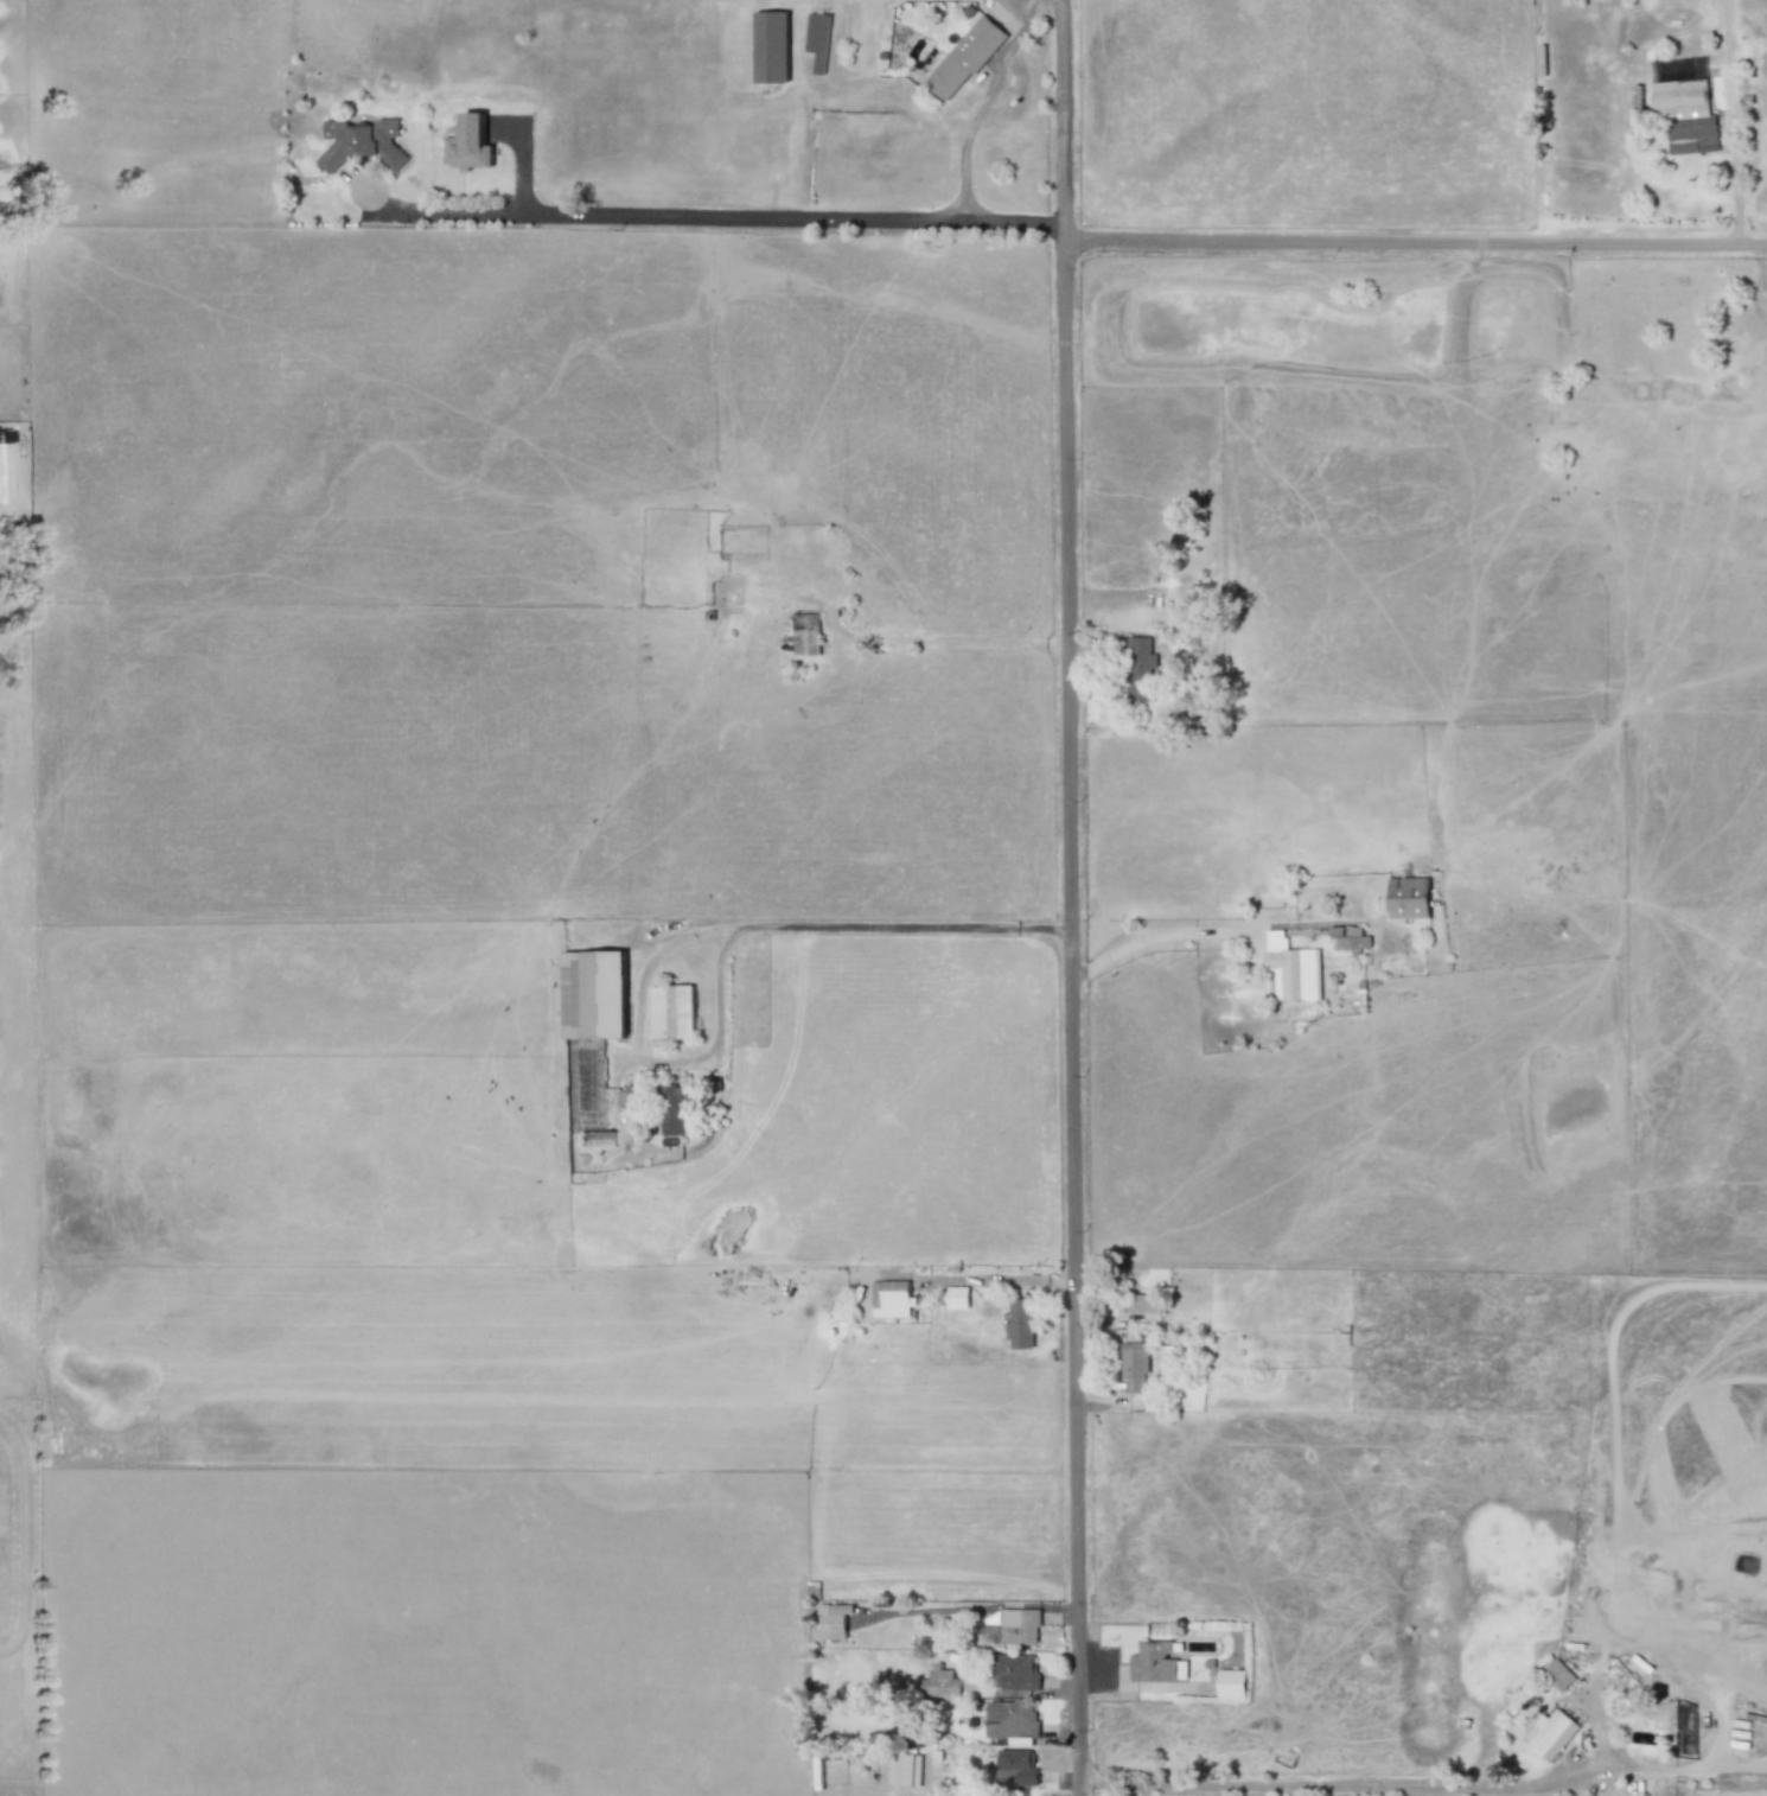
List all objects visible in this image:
road: (1023, 0)
building: (817, 40)
building: (771, 47)
building: (964, 58)
road: (981, 107)
building: (1685, 115)
road: (1061, 121)
building: (362, 144)
building: (467, 144)
road: (1758, 176)
road: (444, 212)
road: (791, 223)
road: (1415, 243)
building: (805, 635)
building: (1138, 669)
building: (1408, 898)
road: (906, 926)
road: (1159, 935)
building: (1347, 938)
building: (593, 994)
building: (671, 1012)
road: (1071, 1018)
building: (625, 1096)
building: (672, 1110)
building: (952, 1298)
building: (889, 1299)
building: (1142, 1303)
building: (1020, 1324)
building: (1134, 1365)
building: (834, 1620)
building: (1010, 1628)
building: (1156, 1662)
building: (1013, 1671)
building: (1557, 1675)
building: (1231, 1683)
building: (938, 1684)
building: (1010, 1720)
building: (1549, 1734)
building: (1015, 1766)
road: (1350, 1787)

